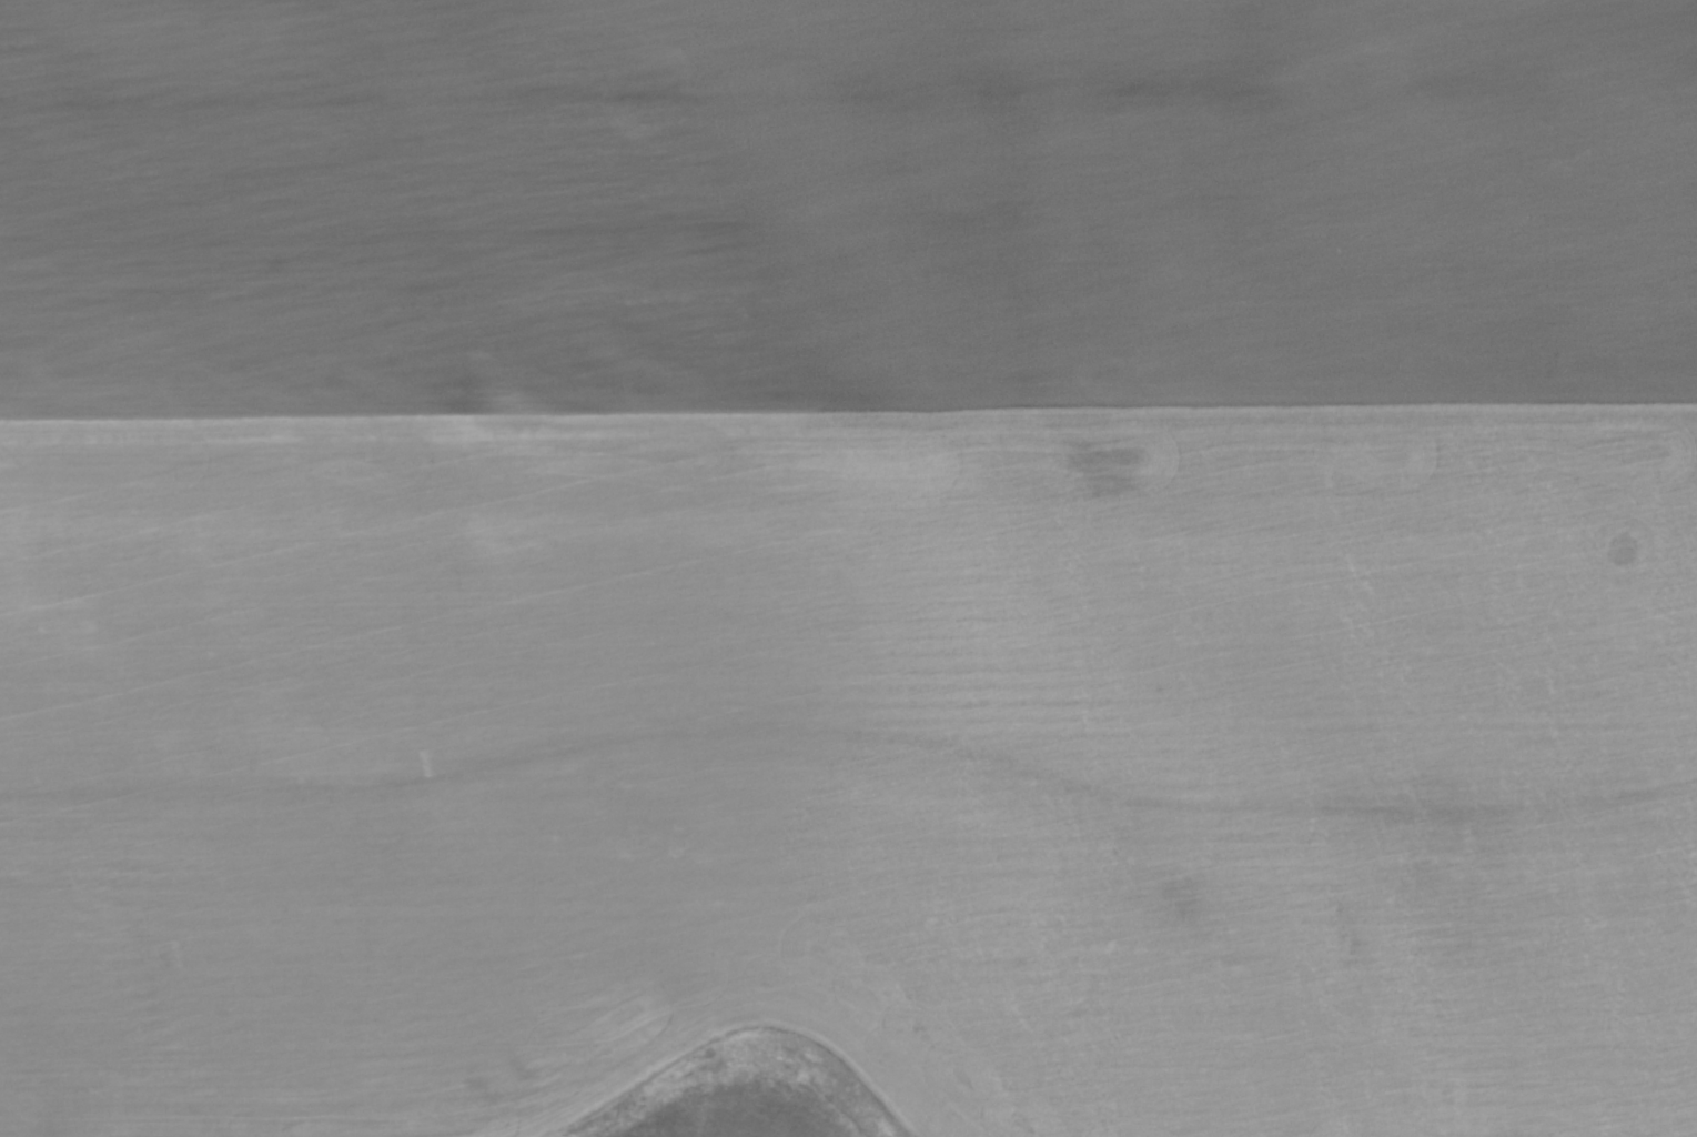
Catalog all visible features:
crop: (848, 568)

